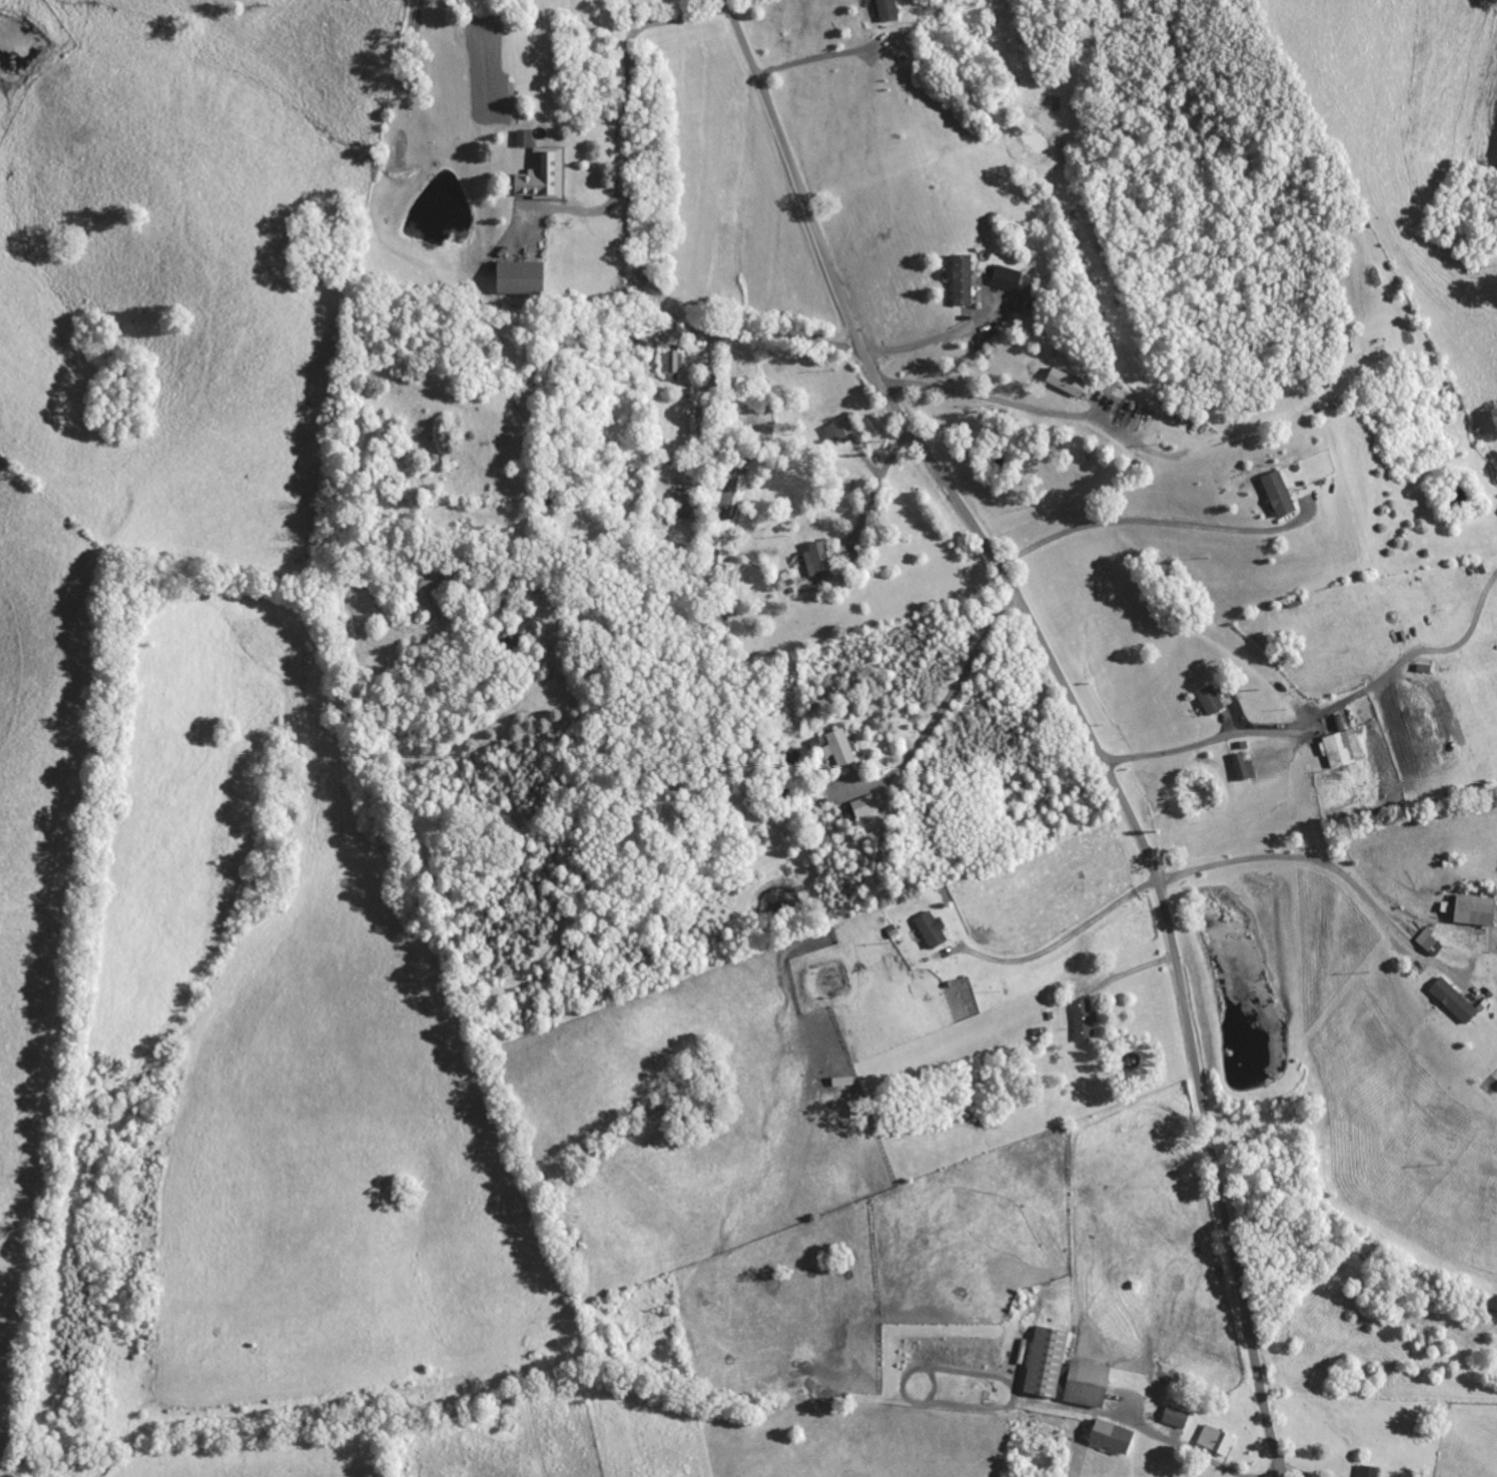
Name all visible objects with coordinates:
building: (888, 10)
road: (818, 58)
road: (622, 110)
building: (524, 139)
building: (542, 176)
building: (521, 278)
building: (1007, 278)
building: (961, 280)
building: (669, 364)
building: (1066, 383)
road: (987, 400)
building: (839, 430)
building: (1279, 495)
building: (681, 507)
road: (1144, 523)
building: (819, 562)
road: (951, 691)
building: (1210, 701)
road: (1080, 710)
road: (1328, 714)
building: (840, 749)
building: (1343, 749)
building: (1241, 768)
building: (858, 810)
road: (1328, 866)
building: (1472, 911)
building: (932, 930)
road: (1067, 937)
building: (1428, 942)
building: (1454, 1001)
building: (1083, 1021)
building: (843, 1083)
building: (1065, 1372)
building: (1176, 1417)
building: (1112, 1436)
building: (1216, 1440)
road: (1188, 1450)
building: (1368, 1471)

